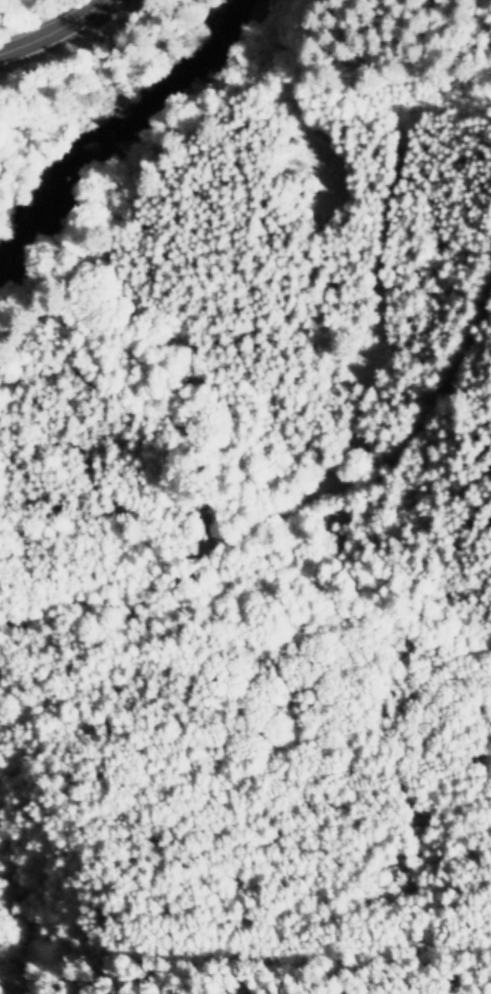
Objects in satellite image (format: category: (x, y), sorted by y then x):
road: (53, 33)
river: (108, 135)
road: (242, 597)

